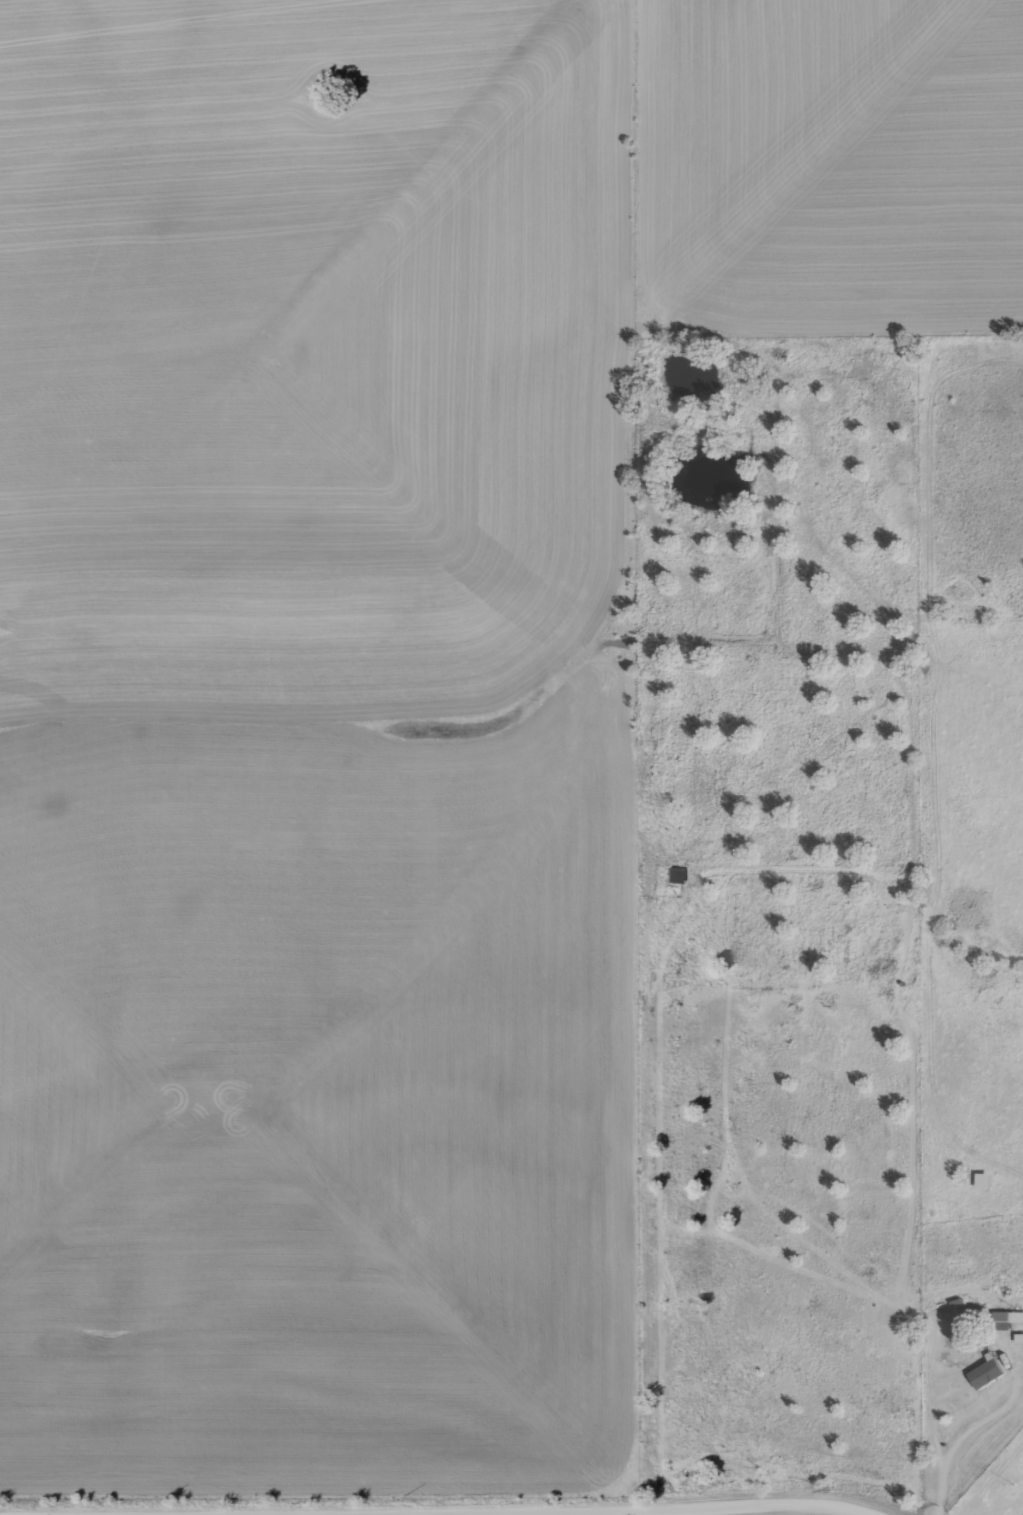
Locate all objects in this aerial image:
building: (1006, 1317)
building: (983, 1374)
road: (936, 1460)
road: (619, 1509)

